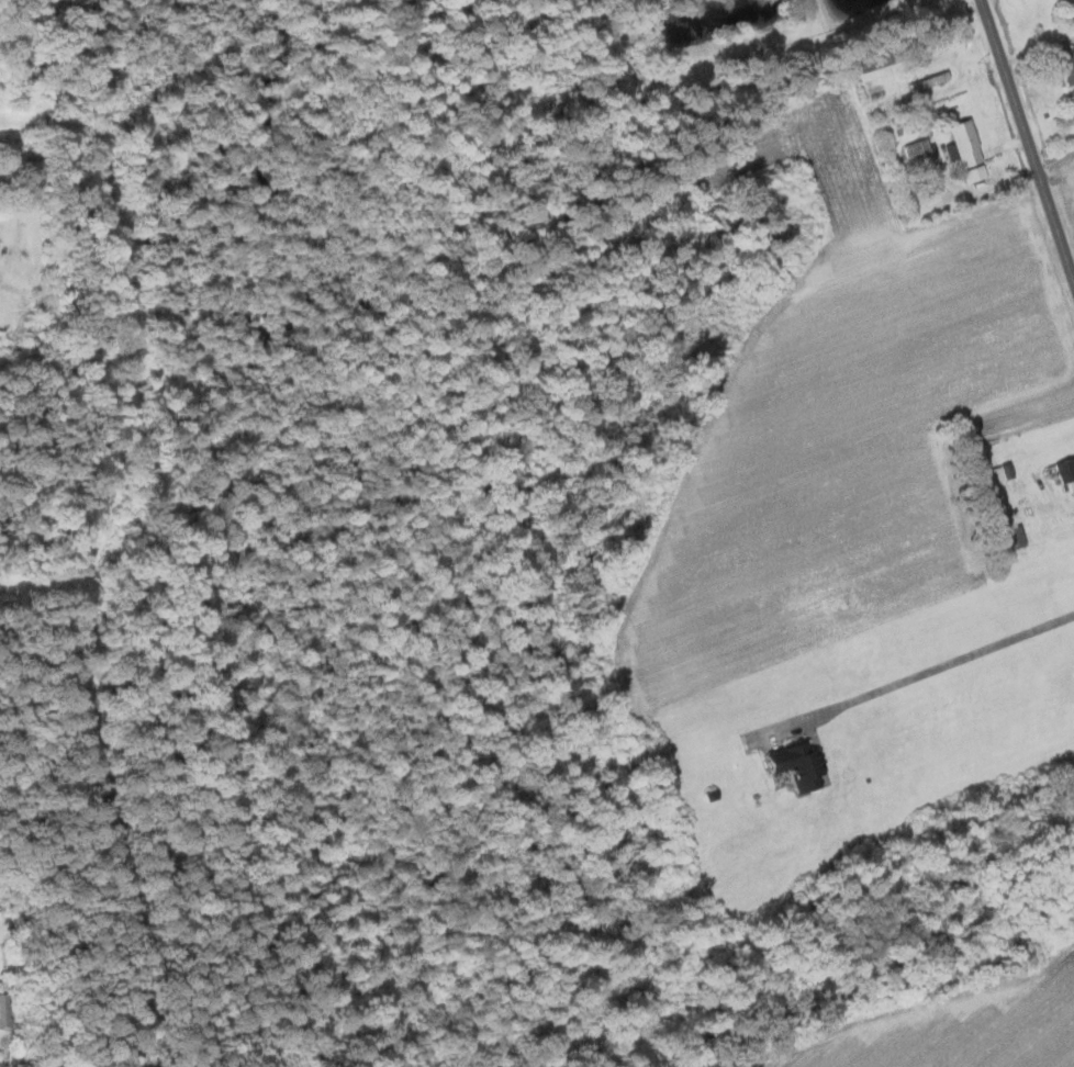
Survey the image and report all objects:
building: (866, 63)
road: (1026, 141)
building: (960, 144)
building: (915, 148)
road: (1054, 160)
building: (973, 172)
building: (929, 181)
building: (998, 471)
building: (1007, 538)
road: (939, 665)
building: (794, 764)
building: (5, 1010)

